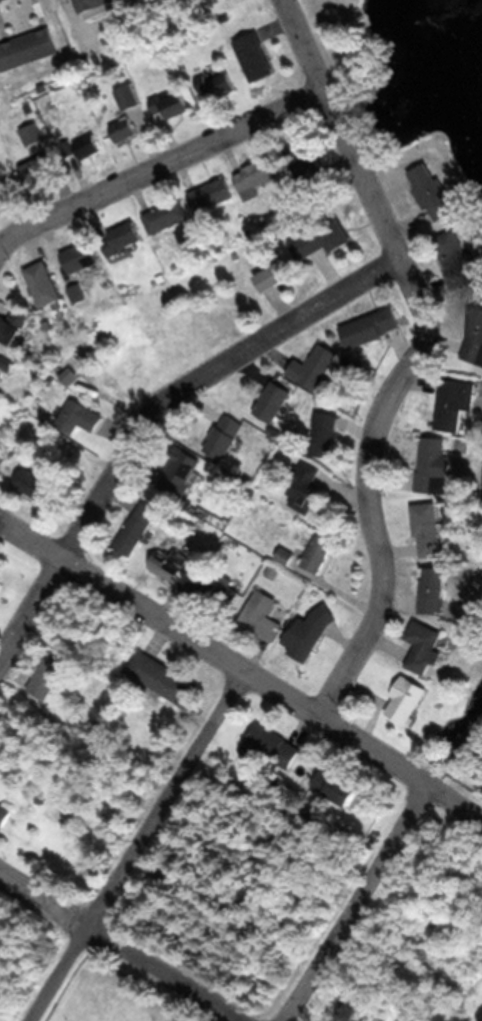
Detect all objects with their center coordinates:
building: (98, 5)
building: (27, 49)
building: (251, 49)
building: (217, 84)
building: (128, 97)
building: (170, 106)
building: (123, 131)
building: (33, 135)
building: (87, 147)
road: (159, 165)
building: (306, 166)
building: (36, 168)
building: (257, 176)
building: (436, 193)
building: (210, 196)
building: (167, 217)
building: (322, 238)
building: (122, 239)
building: (83, 257)
building: (459, 260)
building: (274, 278)
building: (45, 285)
building: (77, 294)
building: (15, 325)
building: (370, 328)
building: (474, 338)
road: (415, 357)
building: (315, 367)
building: (68, 375)
building: (0, 396)
building: (272, 401)
building: (455, 404)
building: (79, 417)
road: (156, 417)
building: (324, 434)
building: (224, 436)
building: (434, 467)
building: (180, 471)
building: (305, 480)
building: (37, 485)
building: (137, 527)
building: (428, 527)
building: (317, 553)
building: (285, 555)
building: (182, 566)
building: (0, 582)
building: (217, 588)
building: (432, 590)
building: (261, 615)
road: (159, 616)
building: (309, 632)
building: (423, 645)
building: (50, 674)
building: (161, 677)
building: (406, 698)
building: (273, 746)
road: (398, 766)
building: (337, 787)
building: (4, 815)
road: (136, 844)
road: (353, 902)
road: (120, 942)

